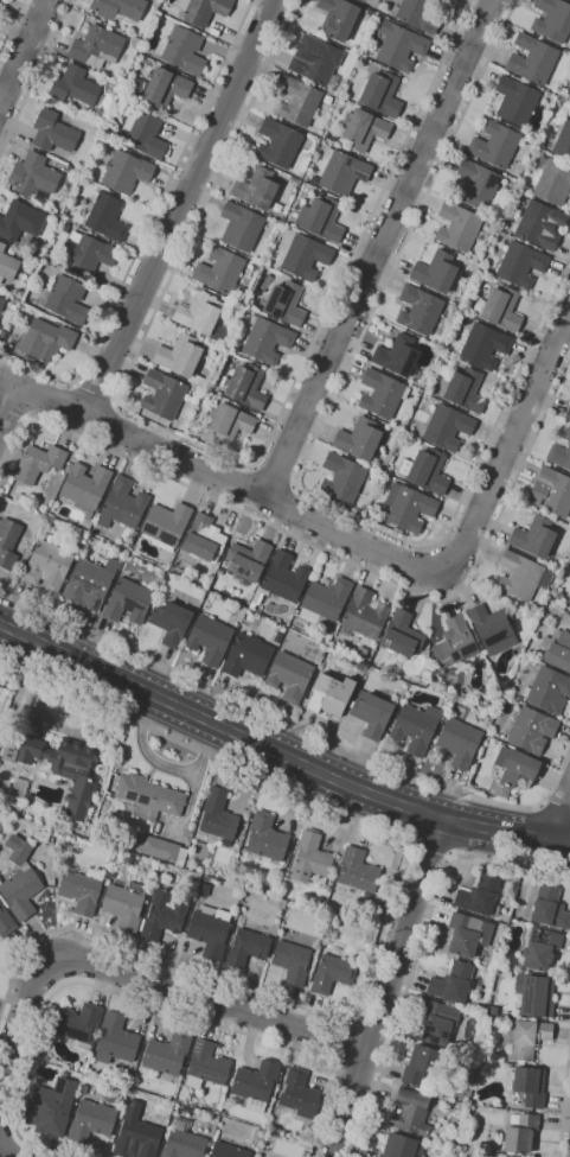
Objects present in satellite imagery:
building: (360, 0)
building: (117, 7)
building: (204, 11)
building: (417, 14)
building: (338, 18)
building: (552, 19)
road: (12, 27)
building: (398, 45)
building: (96, 46)
building: (181, 50)
road: (23, 51)
building: (315, 59)
building: (532, 59)
road: (34, 76)
building: (73, 85)
building: (166, 88)
building: (129, 91)
building: (379, 94)
building: (297, 101)
building: (515, 101)
building: (559, 102)
building: (363, 129)
building: (52, 132)
building: (145, 134)
building: (563, 141)
building: (278, 142)
building: (495, 144)
building: (70, 170)
building: (342, 171)
building: (126, 172)
building: (33, 174)
building: (552, 182)
building: (476, 184)
building: (256, 189)
building: (518, 193)
road: (179, 206)
building: (105, 217)
building: (321, 218)
building: (20, 221)
building: (540, 224)
building: (241, 225)
building: (64, 227)
building: (457, 227)
road: (148, 228)
road: (380, 249)
building: (85, 254)
building: (305, 256)
building: (7, 263)
building: (520, 265)
building: (222, 272)
building: (435, 272)
building: (498, 284)
building: (66, 299)
building: (1, 303)
building: (284, 303)
building: (501, 309)
building: (418, 310)
building: (201, 316)
building: (46, 339)
building: (265, 339)
building: (483, 345)
building: (397, 355)
building: (181, 358)
building: (461, 364)
building: (245, 386)
building: (465, 390)
road: (96, 392)
building: (162, 394)
building: (382, 394)
road: (8, 405)
road: (13, 412)
building: (568, 413)
building: (228, 424)
building: (447, 427)
building: (359, 439)
road: (510, 441)
road: (216, 452)
building: (561, 452)
road: (307, 453)
building: (38, 463)
building: (428, 471)
road: (274, 476)
building: (341, 477)
road: (222, 478)
building: (84, 487)
building: (551, 491)
building: (122, 504)
building: (408, 507)
building: (166, 525)
building: (137, 534)
building: (78, 535)
building: (534, 536)
building: (90, 538)
building: (203, 539)
building: (8, 542)
building: (124, 545)
road: (332, 554)
building: (248, 560)
building: (46, 566)
building: (523, 576)
building: (281, 580)
building: (90, 583)
building: (558, 595)
building: (326, 598)
building: (128, 600)
building: (515, 612)
building: (364, 615)
building: (171, 622)
building: (493, 628)
building: (402, 635)
building: (277, 637)
building: (210, 638)
building: (454, 642)
building: (557, 649)
building: (361, 653)
building: (248, 656)
building: (360, 666)
building: (433, 673)
building: (289, 676)
building: (547, 689)
building: (487, 693)
building: (329, 694)
building: (518, 698)
building: (371, 713)
road: (296, 726)
building: (415, 727)
building: (531, 730)
building: (459, 742)
road: (277, 752)
building: (514, 765)
building: (59, 767)
building: (18, 788)
building: (505, 792)
building: (148, 796)
road: (557, 812)
building: (218, 815)
building: (41, 837)
building: (265, 837)
building: (160, 848)
road: (428, 848)
building: (310, 857)
building: (357, 871)
building: (56, 873)
building: (20, 881)
building: (203, 889)
building: (79, 892)
building: (480, 896)
building: (124, 905)
building: (549, 908)
building: (164, 914)
road: (382, 917)
building: (6, 922)
building: (209, 932)
building: (467, 934)
building: (248, 948)
road: (420, 948)
building: (540, 948)
building: (292, 961)
building: (332, 973)
building: (451, 983)
road: (385, 987)
building: (536, 997)
road: (209, 999)
road: (145, 1002)
road: (21, 1021)
building: (437, 1021)
road: (351, 1022)
building: (78, 1025)
building: (529, 1038)
building: (115, 1040)
road: (346, 1041)
building: (166, 1054)
road: (339, 1062)
building: (206, 1064)
building: (422, 1066)
building: (255, 1083)
building: (530, 1086)
building: (299, 1094)
building: (229, 1098)
road: (564, 1101)
building: (51, 1106)
building: (410, 1112)
building: (91, 1120)
building: (520, 1134)
building: (140, 1137)
building: (182, 1140)
building: (402, 1146)
building: (229, 1151)
road: (6, 1153)
building: (129, 1156)

